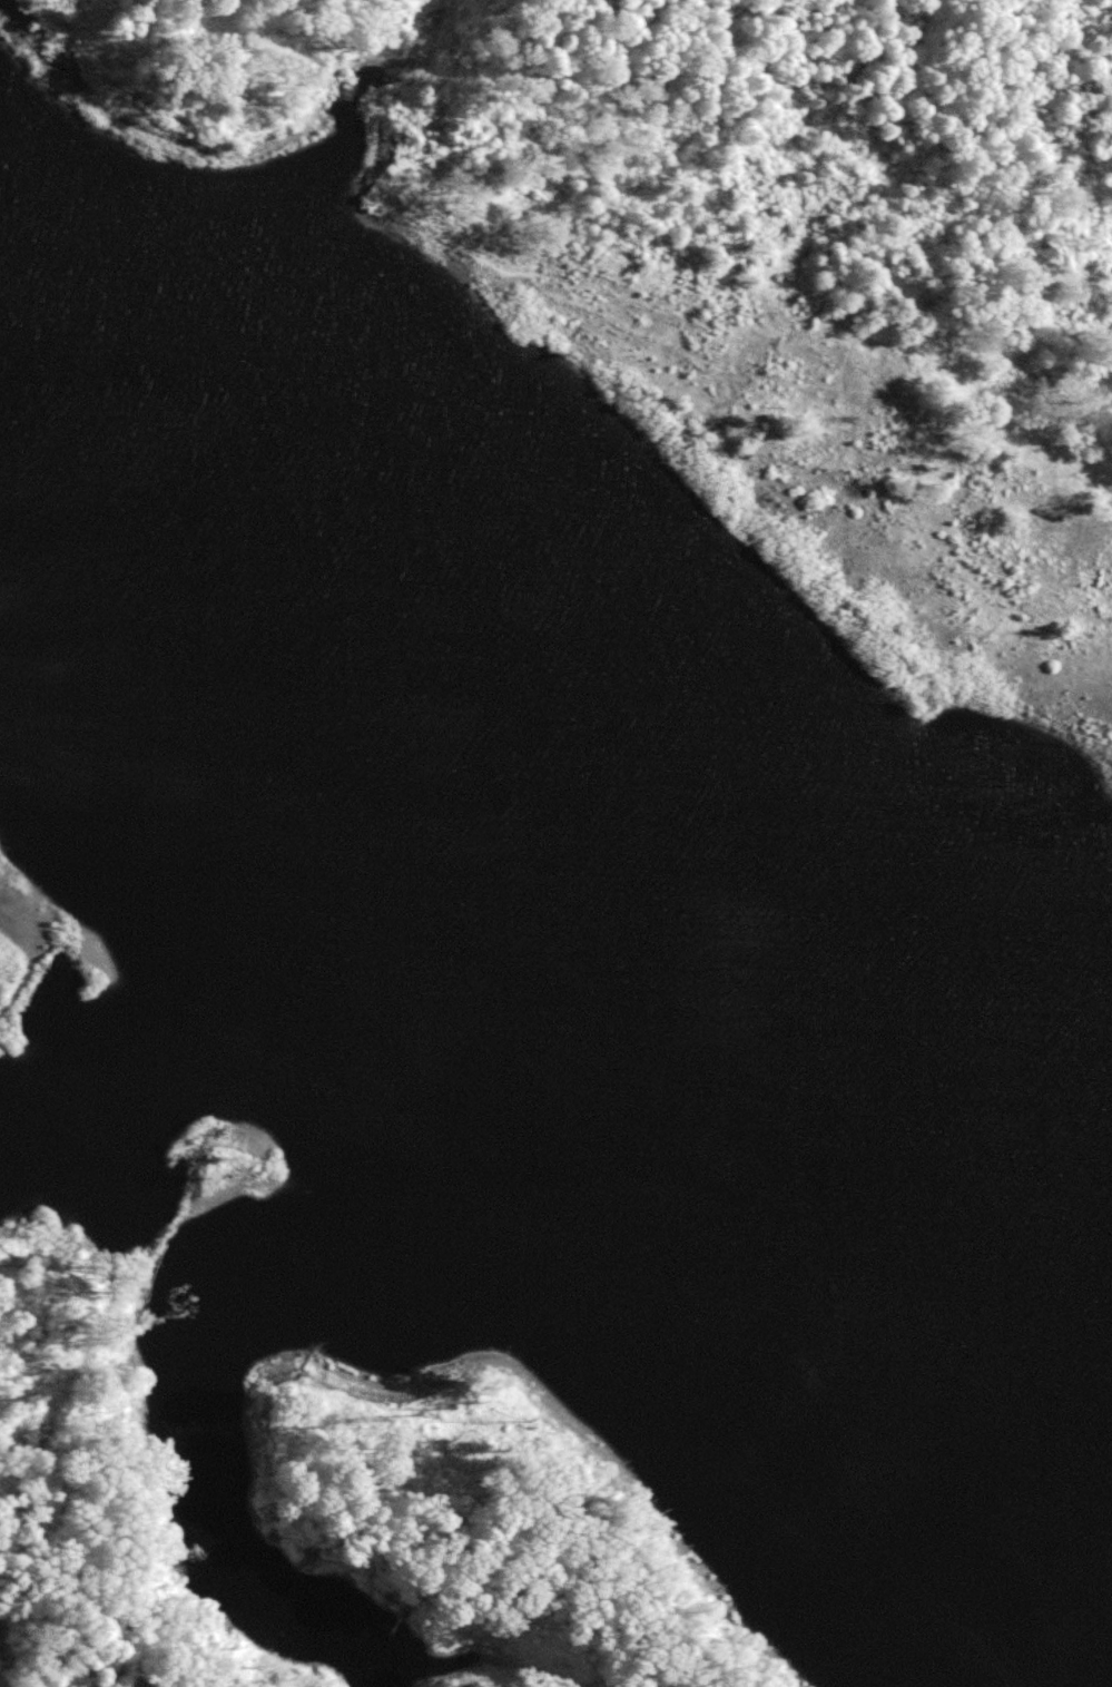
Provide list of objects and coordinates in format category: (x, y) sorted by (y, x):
river: (544, 953)

